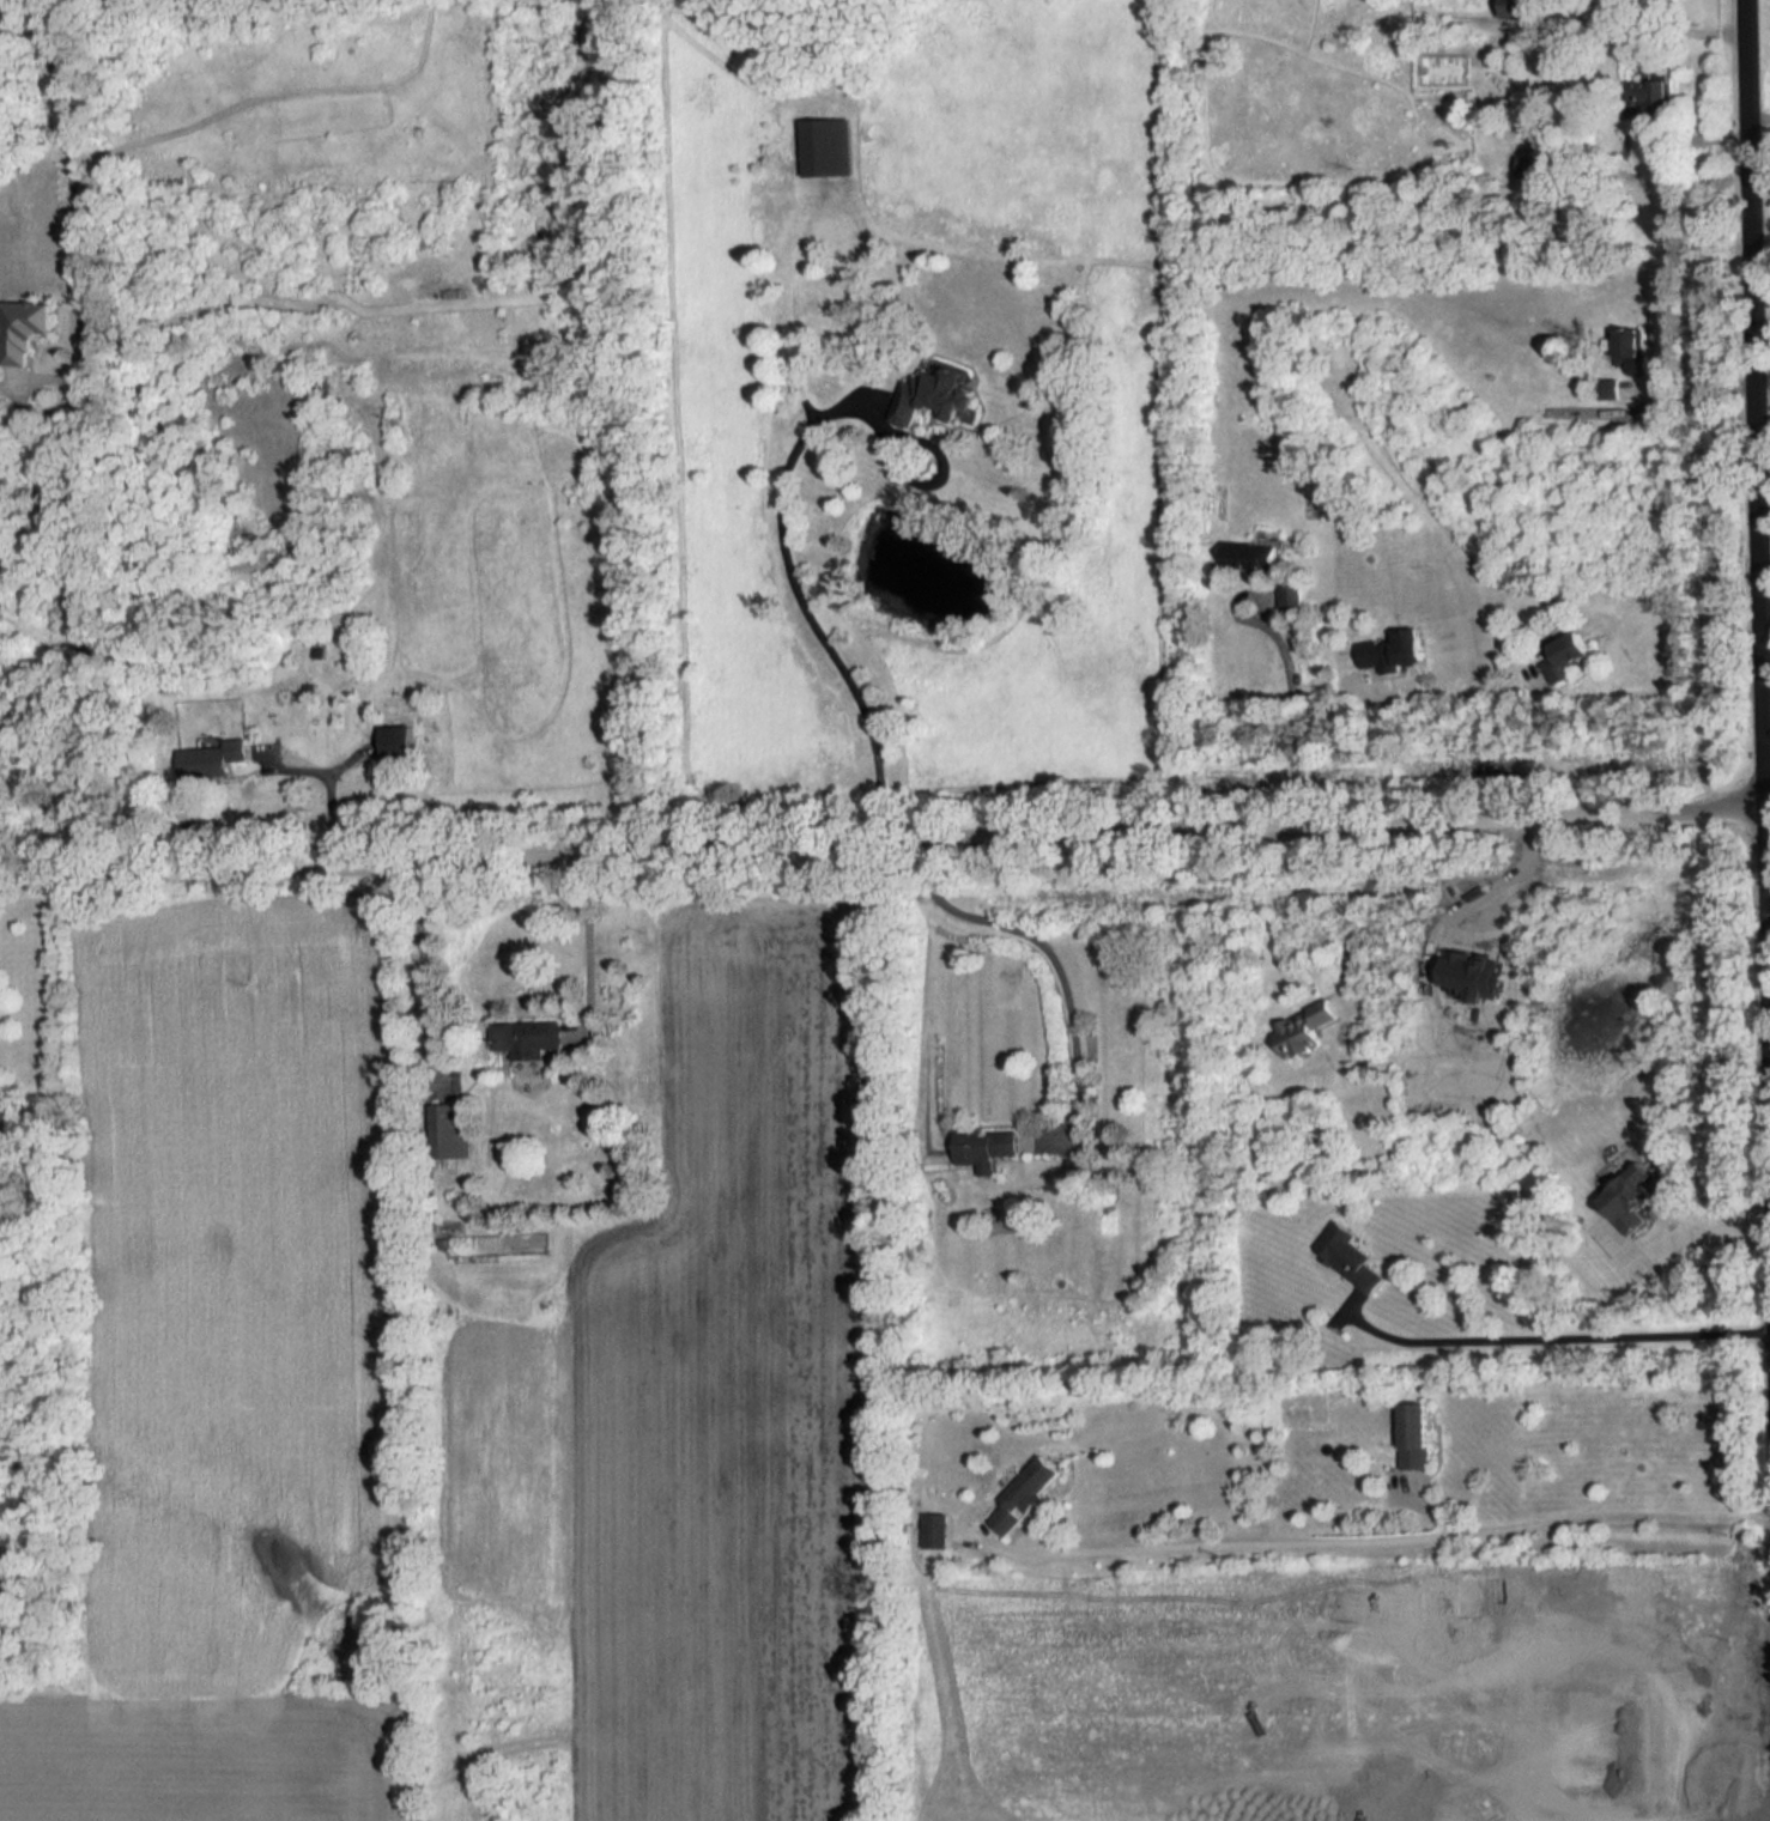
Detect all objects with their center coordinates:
building: (1520, 8)
building: (1659, 97)
road: (1759, 115)
building: (826, 146)
road: (1760, 148)
building: (1530, 165)
building: (25, 328)
building: (1632, 350)
road: (1692, 382)
building: (1610, 389)
building: (929, 395)
road: (91, 436)
road: (1758, 515)
building: (1255, 556)
building: (1290, 595)
road: (800, 596)
building: (1394, 650)
building: (1559, 664)
road: (1293, 715)
building: (399, 742)
road: (1386, 755)
road: (327, 779)
road: (884, 840)
road: (1505, 876)
road: (1357, 912)
road: (588, 943)
road: (1045, 952)
road: (1769, 982)
building: (1305, 1027)
building: (529, 1038)
building: (451, 1129)
building: (986, 1147)
road: (1684, 1236)
building: (1352, 1257)
road: (1560, 1334)
building: (1418, 1435)
building: (1026, 1493)
road: (1394, 1540)
road: (1588, 1650)

